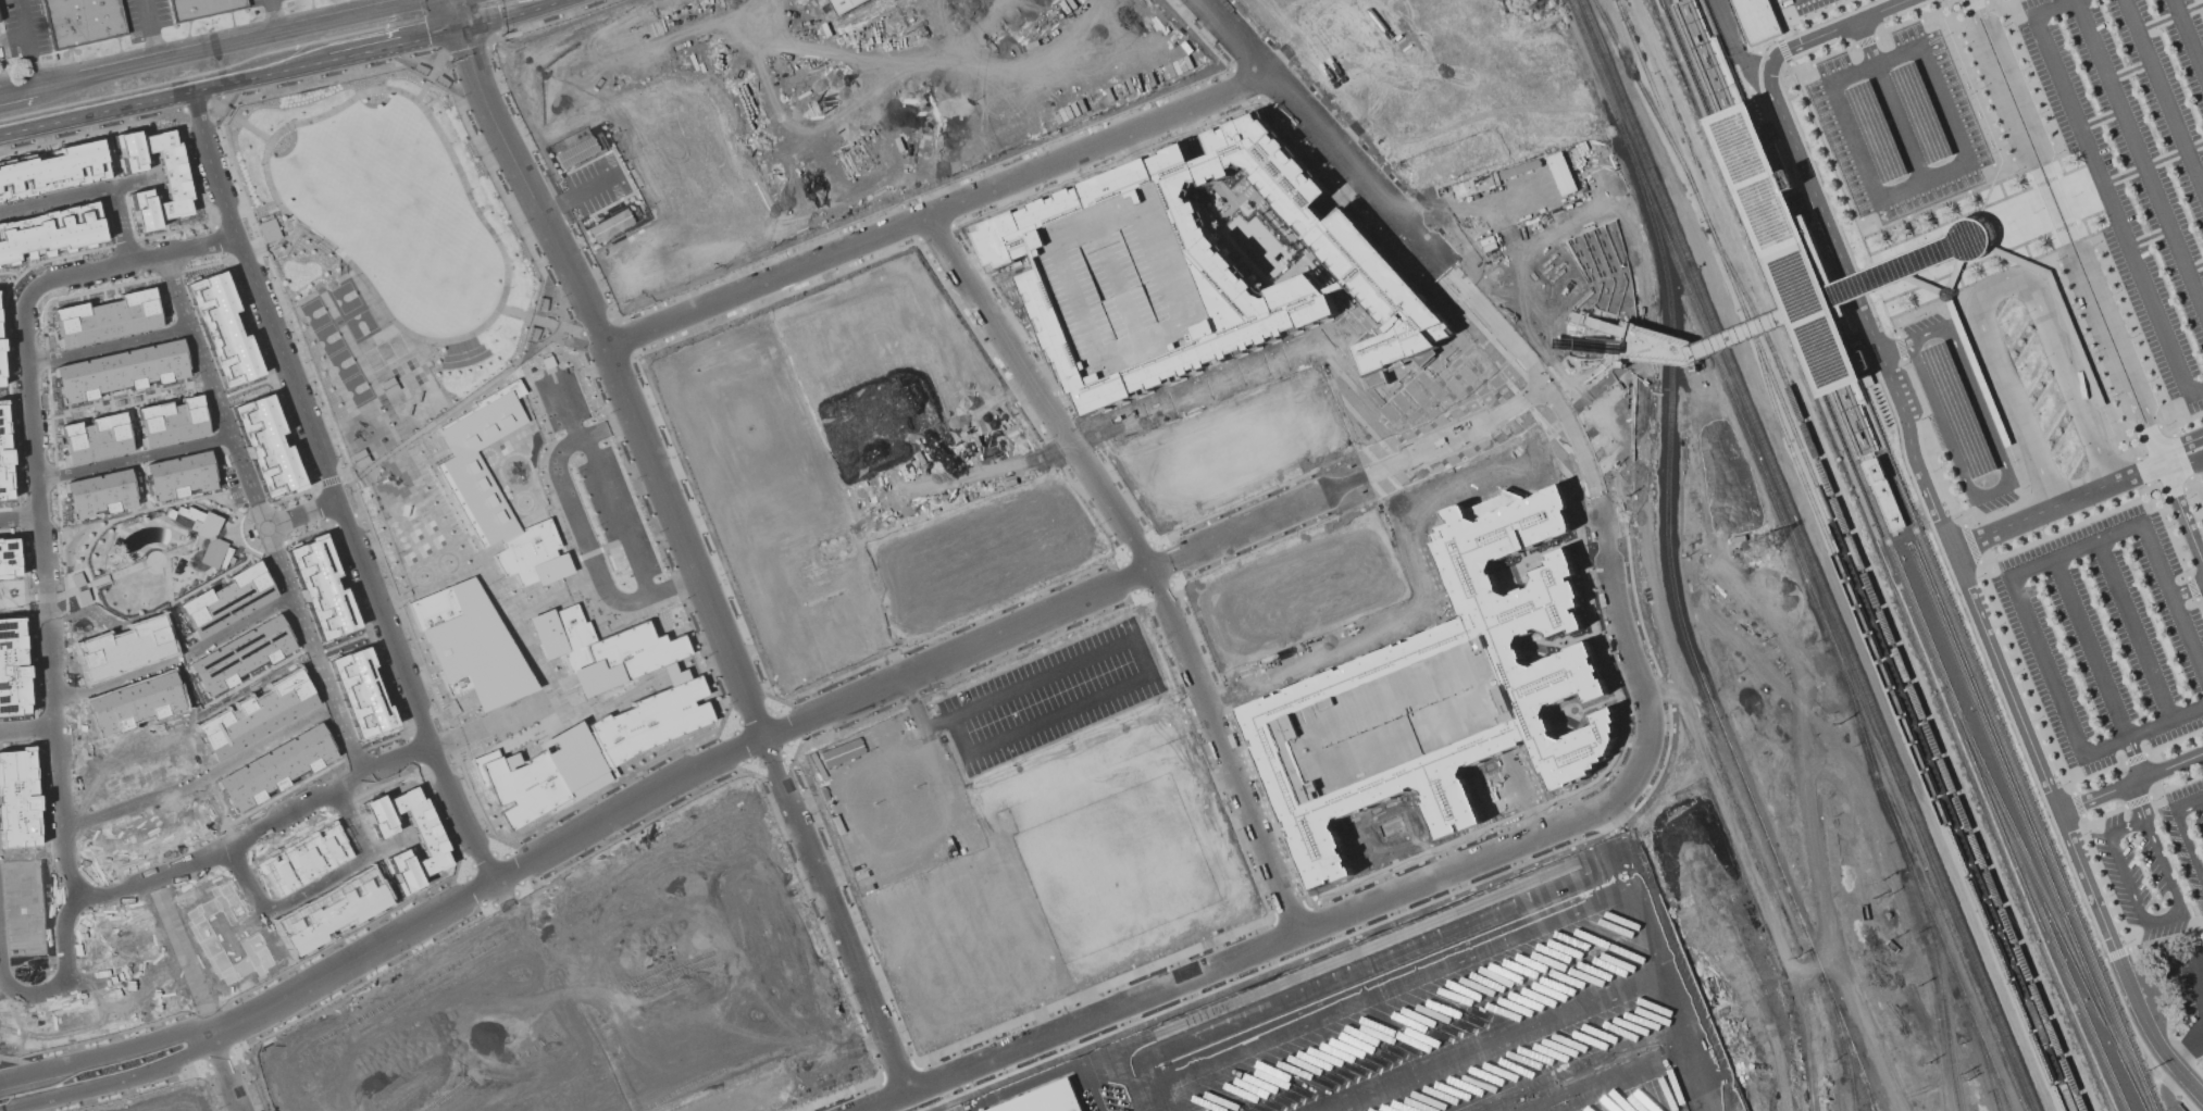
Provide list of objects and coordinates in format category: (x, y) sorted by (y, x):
road: (395, 3)
road: (411, 3)
building: (844, 4)
building: (200, 7)
power tower: (1544, 7)
road: (450, 12)
road: (497, 13)
road: (269, 17)
building: (1763, 18)
building: (80, 21)
road: (1837, 27)
road: (152, 29)
road: (434, 29)
road: (2188, 36)
road: (10, 37)
road: (22, 43)
road: (1731, 45)
road: (213, 48)
road: (298, 59)
road: (1874, 62)
road: (15, 86)
road: (16, 92)
railway: (1643, 97)
road: (2163, 97)
road: (1887, 102)
road: (91, 105)
building: (1919, 113)
parking lot: (2027, 122)
building: (1875, 130)
building: (1011, 136)
building: (574, 152)
road: (2139, 153)
building: (1519, 168)
building: (52, 171)
building: (1560, 174)
building: (174, 180)
building: (1484, 182)
parking lot: (594, 185)
road: (91, 189)
road: (2106, 190)
road: (578, 192)
road: (1377, 192)
road: (1510, 200)
road: (937, 210)
road: (1440, 210)
building: (609, 225)
building: (50, 229)
street lamp: (1124, 229)
building: (269, 230)
road: (2069, 230)
road: (2058, 233)
road: (1991, 234)
street lamp: (1083, 246)
building: (1783, 250)
road: (1507, 255)
building: (1924, 259)
railway: (1803, 262)
railway: (1773, 269)
building: (1194, 272)
building: (1953, 275)
street lamp: (1146, 285)
road: (1859, 288)
street lamp: (1105, 301)
road: (1517, 303)
road: (1857, 303)
building: (104, 319)
street lamp: (1161, 322)
building: (221, 328)
road: (1548, 337)
street lamp: (1120, 339)
road: (1533, 342)
road: (105, 345)
road: (1710, 346)
building: (0, 347)
road: (1630, 349)
road: (1893, 350)
road: (1991, 351)
road: (1615, 352)
road: (1589, 370)
building: (120, 371)
building: (1977, 373)
road: (619, 375)
building: (0, 377)
road: (2070, 378)
building: (1958, 410)
railway: (1518, 419)
building: (170, 420)
building: (95, 438)
road: (2178, 445)
building: (265, 446)
road: (2101, 449)
building: (3, 454)
road: (132, 457)
railway: (1857, 457)
building: (480, 462)
road: (2181, 463)
road: (2137, 472)
parking lot: (597, 473)
building: (179, 475)
road: (2011, 483)
road: (329, 485)
building: (100, 494)
road: (2084, 494)
building: (1882, 495)
road: (258, 511)
road: (2181, 514)
road: (20, 517)
building: (197, 521)
road: (2002, 528)
power tower: (1764, 542)
railway: (1794, 554)
building: (532, 555)
railway: (1807, 555)
railway: (1842, 555)
building: (7, 558)
road: (1143, 558)
road: (2015, 583)
building: (319, 588)
railway: (1655, 588)
road: (2187, 590)
building: (226, 600)
road: (1659, 620)
road: (2133, 628)
railway: (1921, 629)
railway: (1683, 639)
parking lot: (2088, 639)
building: (469, 644)
building: (599, 648)
building: (240, 654)
road: (177, 658)
road: (2098, 667)
building: (11, 669)
railway: (1902, 670)
road: (53, 682)
road: (1135, 684)
building: (1448, 690)
building: (359, 692)
building: (134, 703)
railway: (1511, 703)
building: (254, 715)
road: (919, 719)
railway: (1901, 723)
road: (27, 728)
road: (771, 733)
building: (587, 750)
railway: (1545, 753)
road: (1640, 760)
building: (275, 766)
road: (2040, 772)
railway: (1511, 777)
road: (201, 778)
railway: (1576, 779)
road: (2130, 783)
railway: (1530, 790)
railway: (2011, 795)
railway: (1480, 816)
railway: (2031, 817)
road: (2180, 835)
building: (430, 844)
road: (2153, 848)
road: (1813, 860)
railway: (1914, 877)
road: (2124, 884)
building: (332, 915)
railway: (2053, 915)
railway: (2040, 916)
building: (2202, 943)
road: (1454, 957)
road: (1814, 966)
road: (64, 975)
road: (2194, 984)
railway: (1942, 1000)
railway: (1608, 1037)
road: (1494, 1041)
railway: (1843, 1045)
road: (2161, 1051)
road: (2187, 1052)
road: (1784, 1060)
railway: (1987, 1069)
road: (1586, 1072)
railway: (1860, 1074)
power tower: (1965, 1074)
road: (1693, 1077)
building: (1046, 1100)
street lamp: (1563, 1101)
railway: (1872, 1102)
building: (954, 1108)
railway: (1867, 1108)
railway: (1853, 1109)

